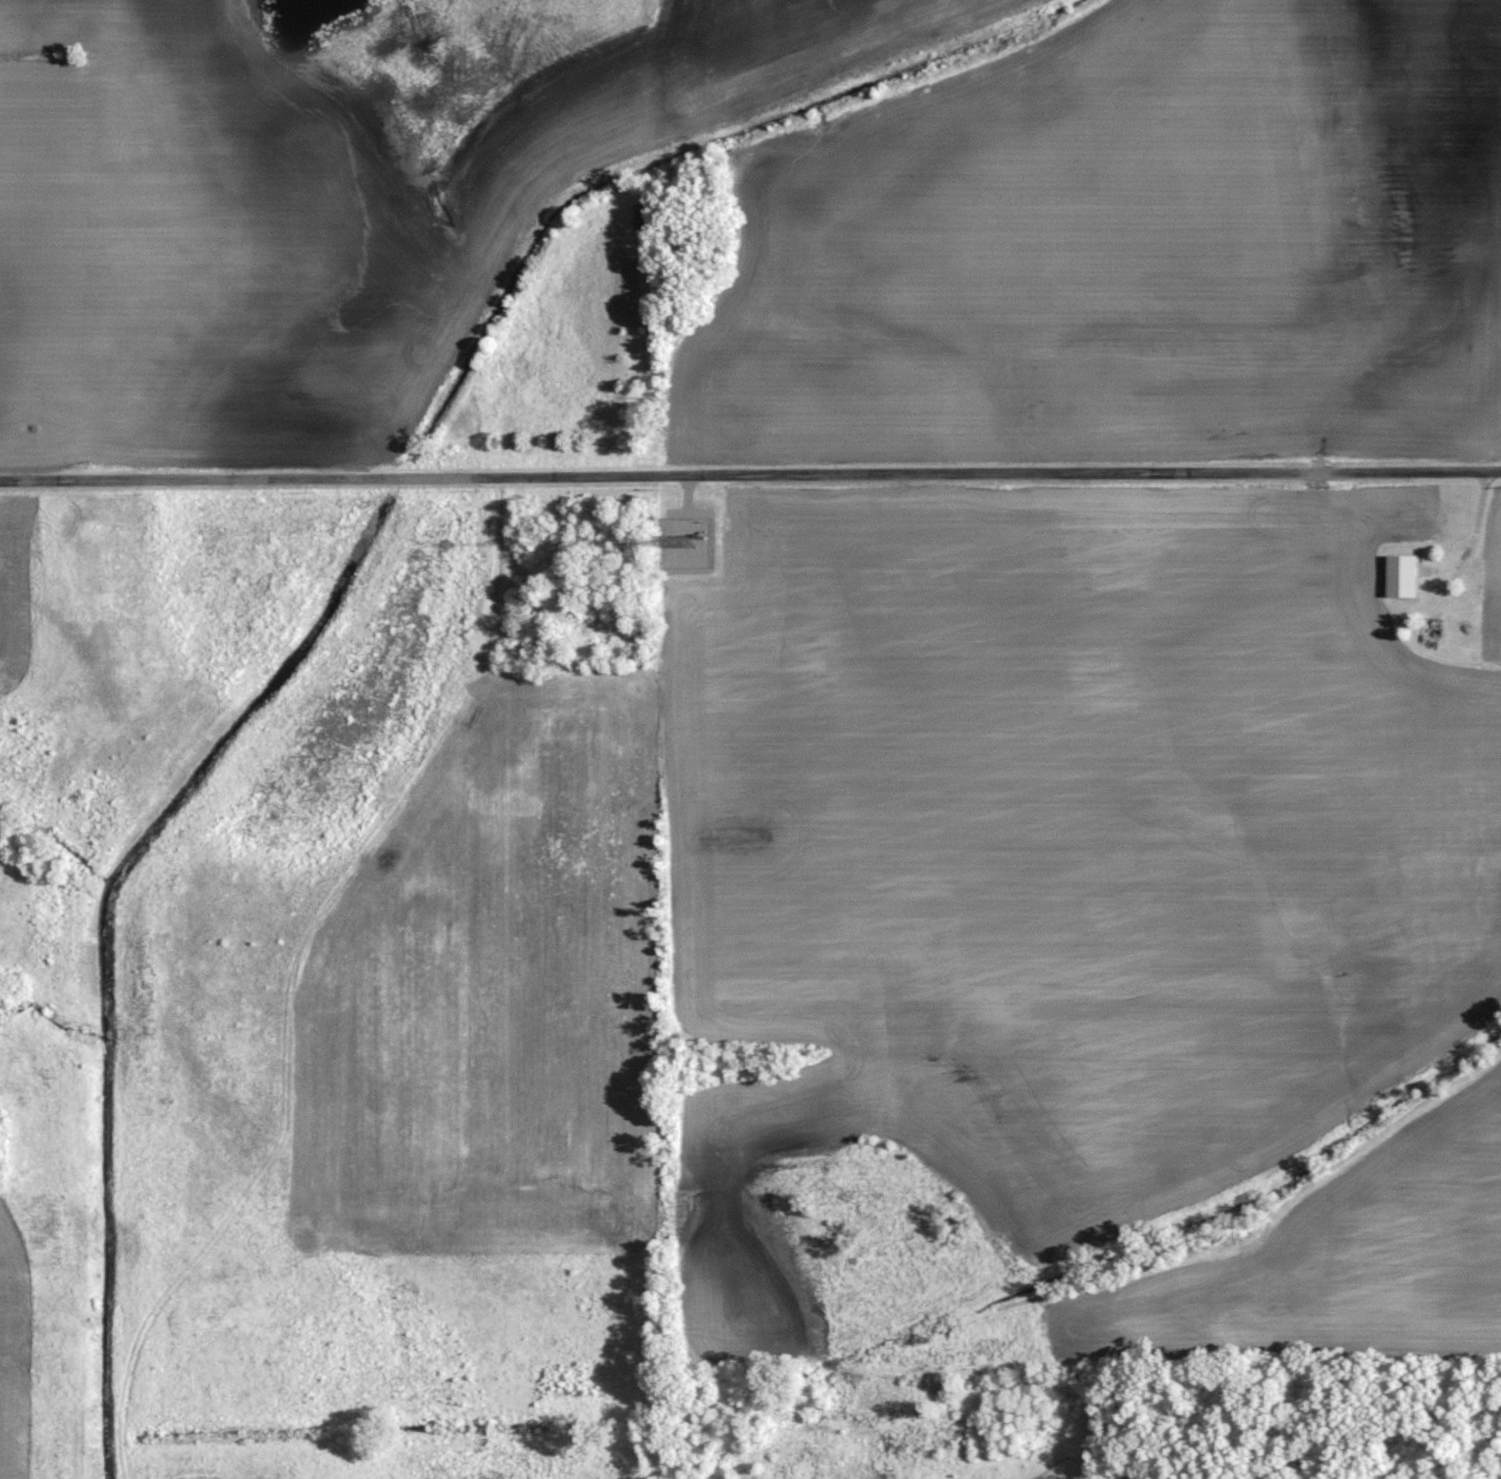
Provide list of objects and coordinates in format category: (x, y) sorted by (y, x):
crop: (119, 18)
crop: (687, 56)
crop: (1116, 247)
crop: (230, 251)
road: (750, 476)
crop: (32, 592)
crop: (1490, 634)
crop: (1066, 834)
crop: (497, 978)
crop: (1340, 1270)

